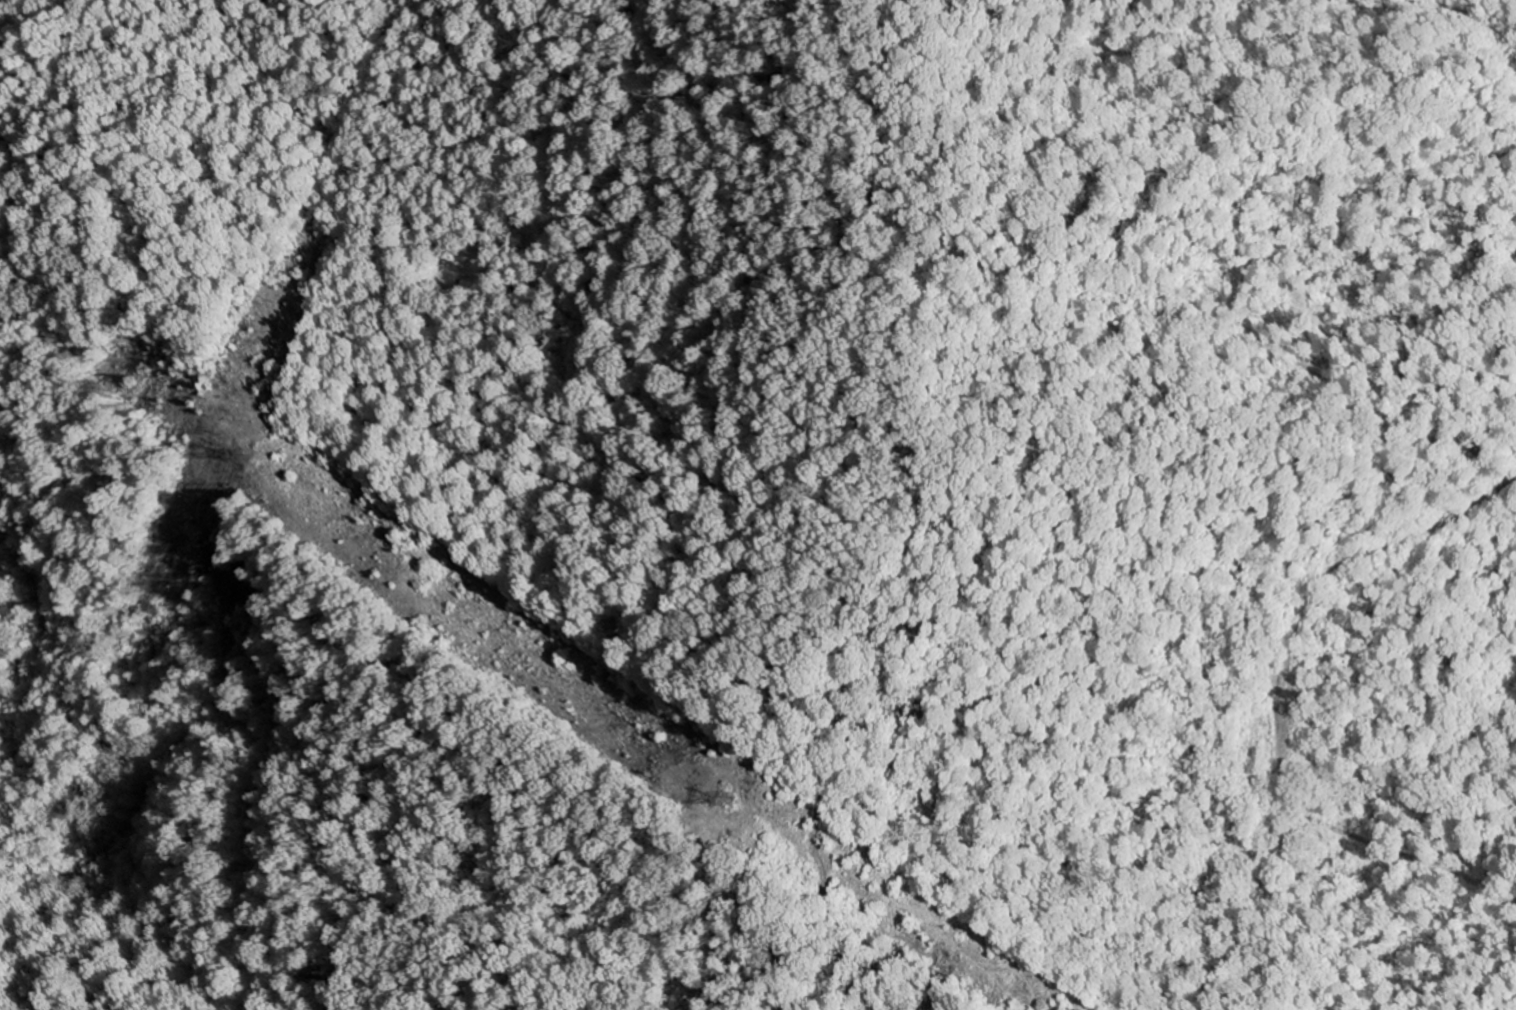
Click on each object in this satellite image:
power tower: (218, 431)
power tower: (246, 458)
power tower: (748, 802)

